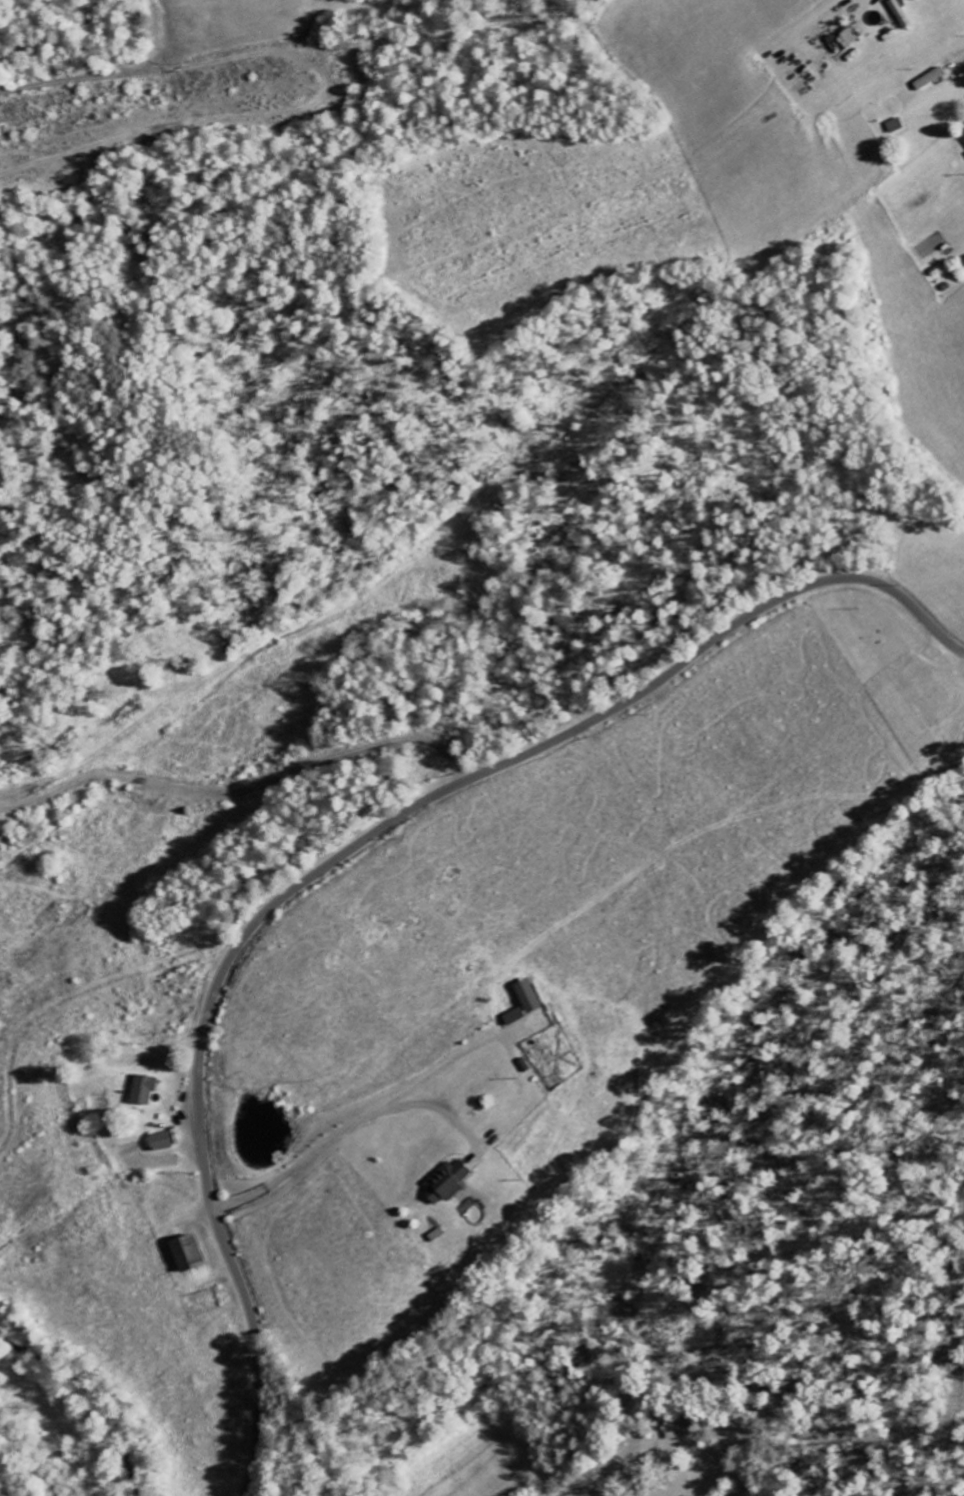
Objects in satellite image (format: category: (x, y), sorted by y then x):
building: (900, 14)
building: (843, 42)
building: (963, 134)
road: (346, 850)
building: (526, 996)
building: (513, 1016)
building: (141, 1090)
building: (159, 1142)
building: (445, 1182)
building: (185, 1254)
building: (675, 1430)

